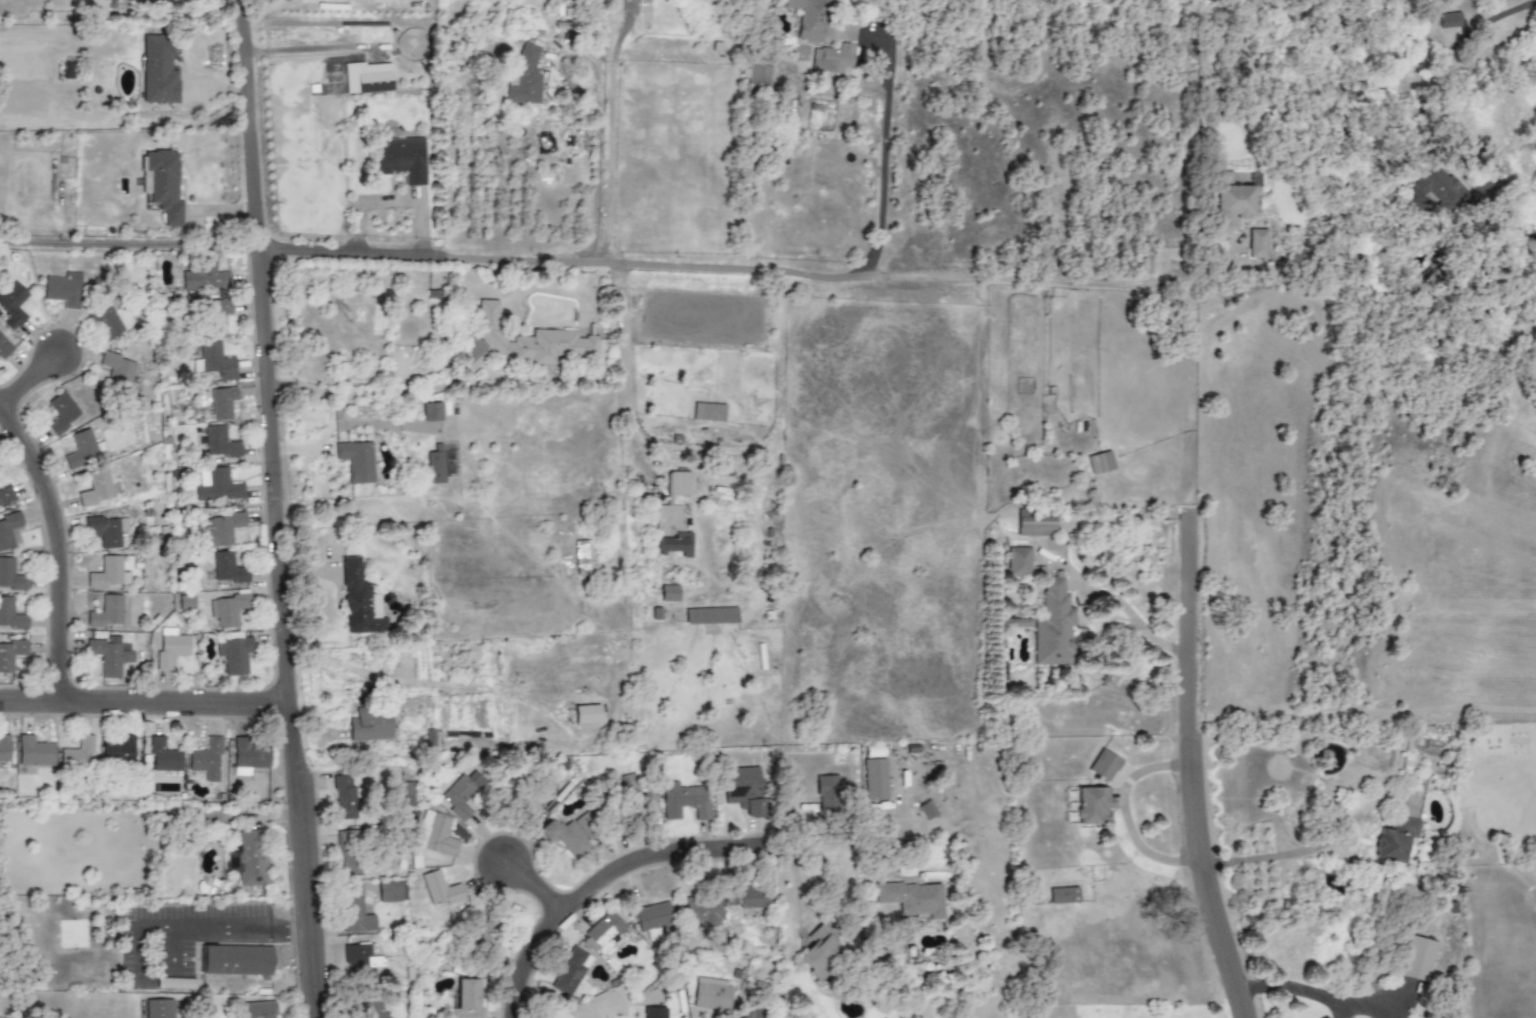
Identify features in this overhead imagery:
building: (157, 0)
building: (808, 18)
building: (1449, 20)
road: (891, 23)
road: (1459, 40)
road: (307, 48)
building: (832, 59)
building: (162, 66)
building: (754, 74)
building: (525, 77)
building: (367, 78)
road: (597, 116)
road: (609, 137)
road: (876, 156)
building: (401, 159)
building: (165, 184)
building: (1434, 190)
building: (1231, 207)
road: (126, 243)
building: (1257, 243)
road: (720, 264)
building: (205, 277)
building: (62, 290)
building: (13, 303)
building: (216, 310)
building: (107, 319)
building: (531, 340)
building: (4, 347)
building: (216, 361)
building: (116, 367)
road: (626, 372)
road: (29, 376)
road: (379, 394)
building: (222, 402)
building: (431, 412)
building: (708, 412)
building: (60, 414)
building: (223, 441)
building: (86, 450)
building: (358, 460)
building: (1100, 462)
building: (435, 467)
building: (678, 483)
building: (217, 487)
building: (95, 489)
building: (6, 497)
road: (271, 509)
building: (10, 531)
building: (106, 531)
building: (221, 531)
building: (670, 532)
road: (55, 552)
building: (586, 558)
building: (1021, 561)
building: (227, 568)
building: (108, 573)
building: (11, 576)
building: (668, 593)
building: (359, 602)
building: (227, 610)
building: (134, 611)
building: (106, 612)
building: (10, 615)
building: (710, 616)
road: (1135, 622)
building: (1053, 626)
building: (171, 648)
building: (10, 654)
building: (109, 655)
building: (234, 655)
road: (142, 702)
building: (586, 714)
building: (370, 726)
building: (4, 750)
building: (118, 750)
building: (874, 751)
building: (34, 752)
building: (76, 756)
building: (163, 756)
building: (248, 756)
building: (206, 758)
road: (1188, 768)
building: (874, 780)
building: (743, 789)
building: (827, 793)
building: (461, 794)
building: (344, 797)
building: (683, 801)
building: (926, 810)
building: (1104, 813)
road: (1125, 814)
building: (567, 836)
building: (440, 837)
building: (1396, 840)
road: (1288, 853)
building: (250, 859)
road: (604, 870)
road: (535, 879)
building: (440, 889)
building: (391, 891)
building: (1063, 895)
building: (745, 897)
building: (912, 898)
building: (355, 911)
building: (703, 912)
building: (652, 919)
building: (604, 934)
road: (170, 958)
building: (361, 959)
building: (1417, 959)
building: (247, 960)
building: (571, 972)
road: (1292, 986)
building: (710, 994)
road: (1369, 1000)
building: (158, 1009)
building: (257, 1010)
building: (370, 1010)

